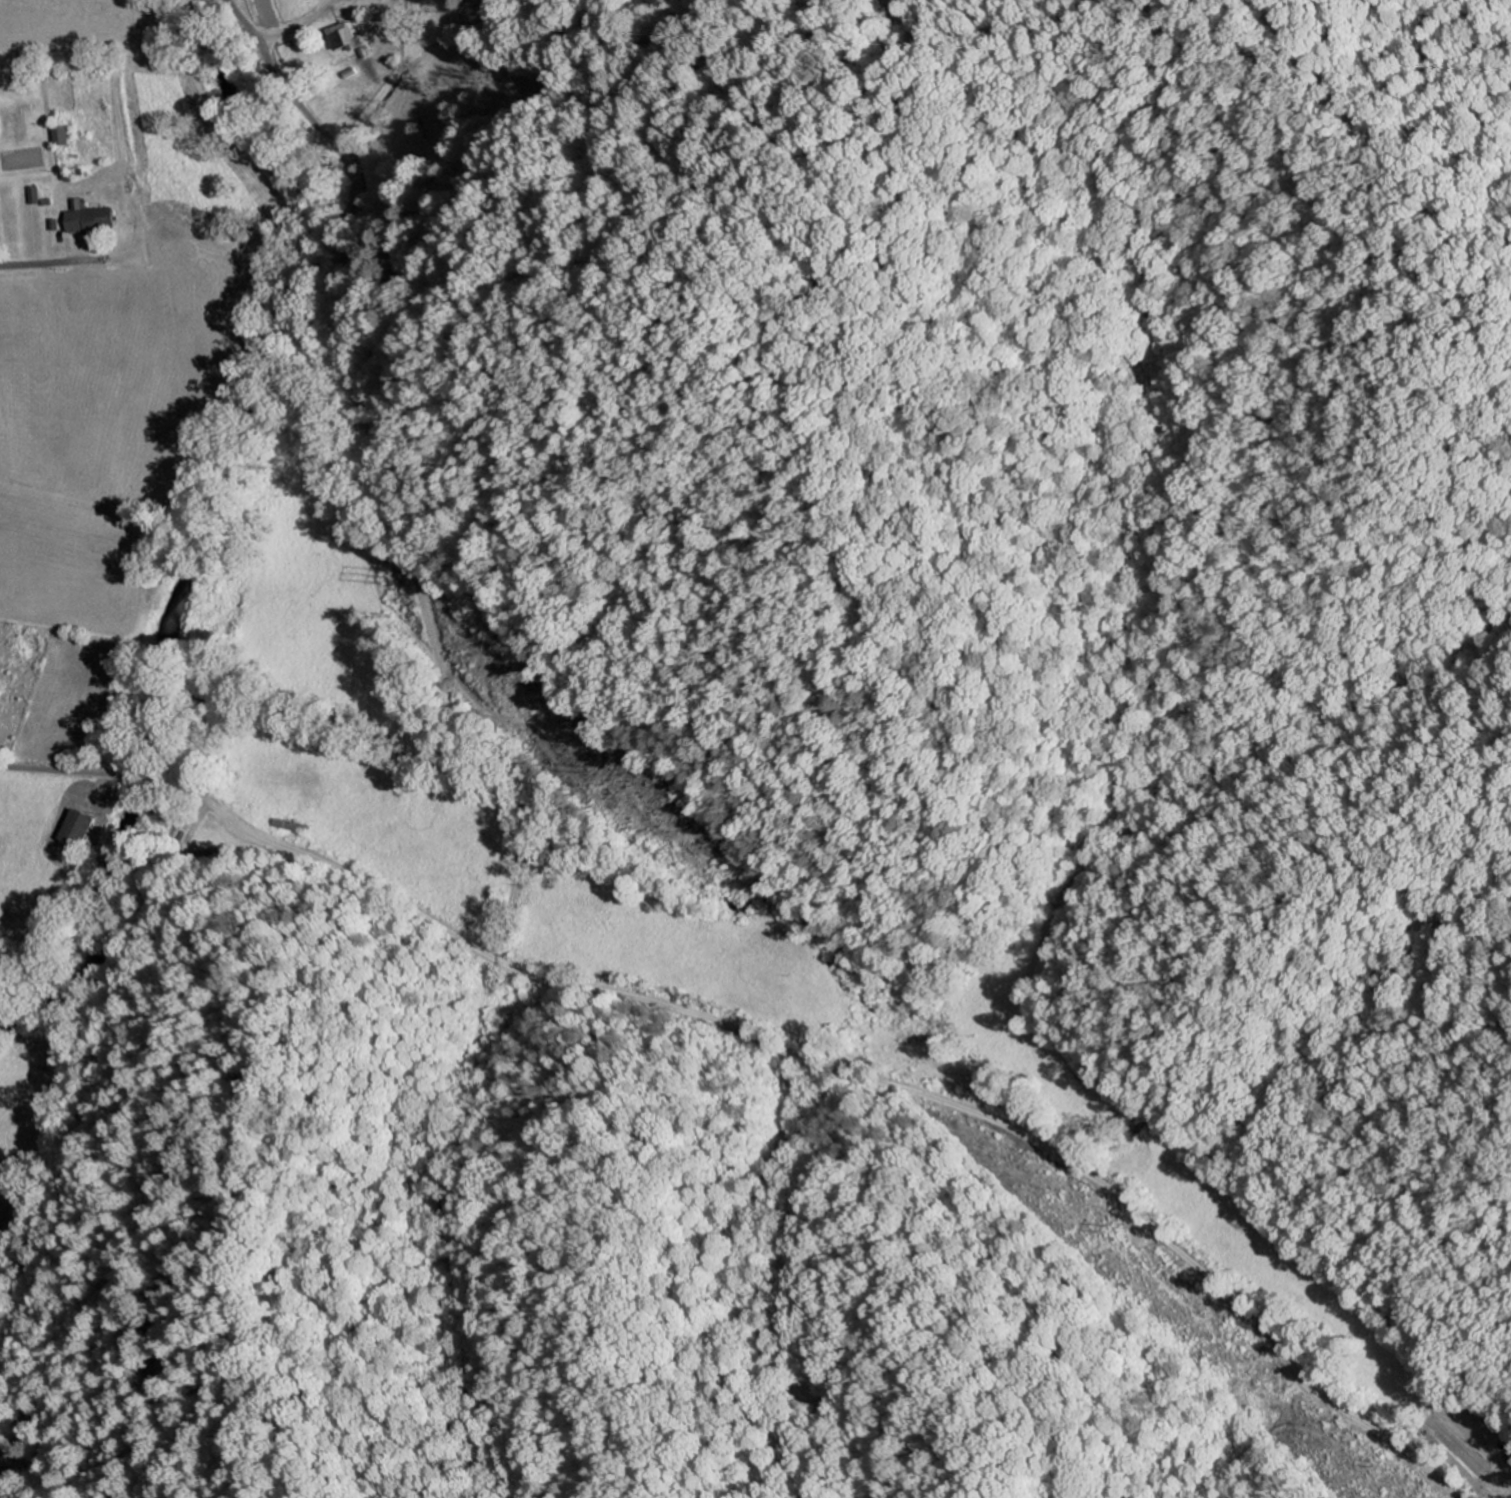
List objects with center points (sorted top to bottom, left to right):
building: (345, 40)
building: (59, 137)
building: (32, 196)
building: (87, 219)
road: (363, 290)
power tower: (382, 572)
power tower: (606, 770)
road: (525, 773)
building: (78, 831)
road: (771, 1048)
power tower: (1132, 1226)
power tower: (1399, 1461)

